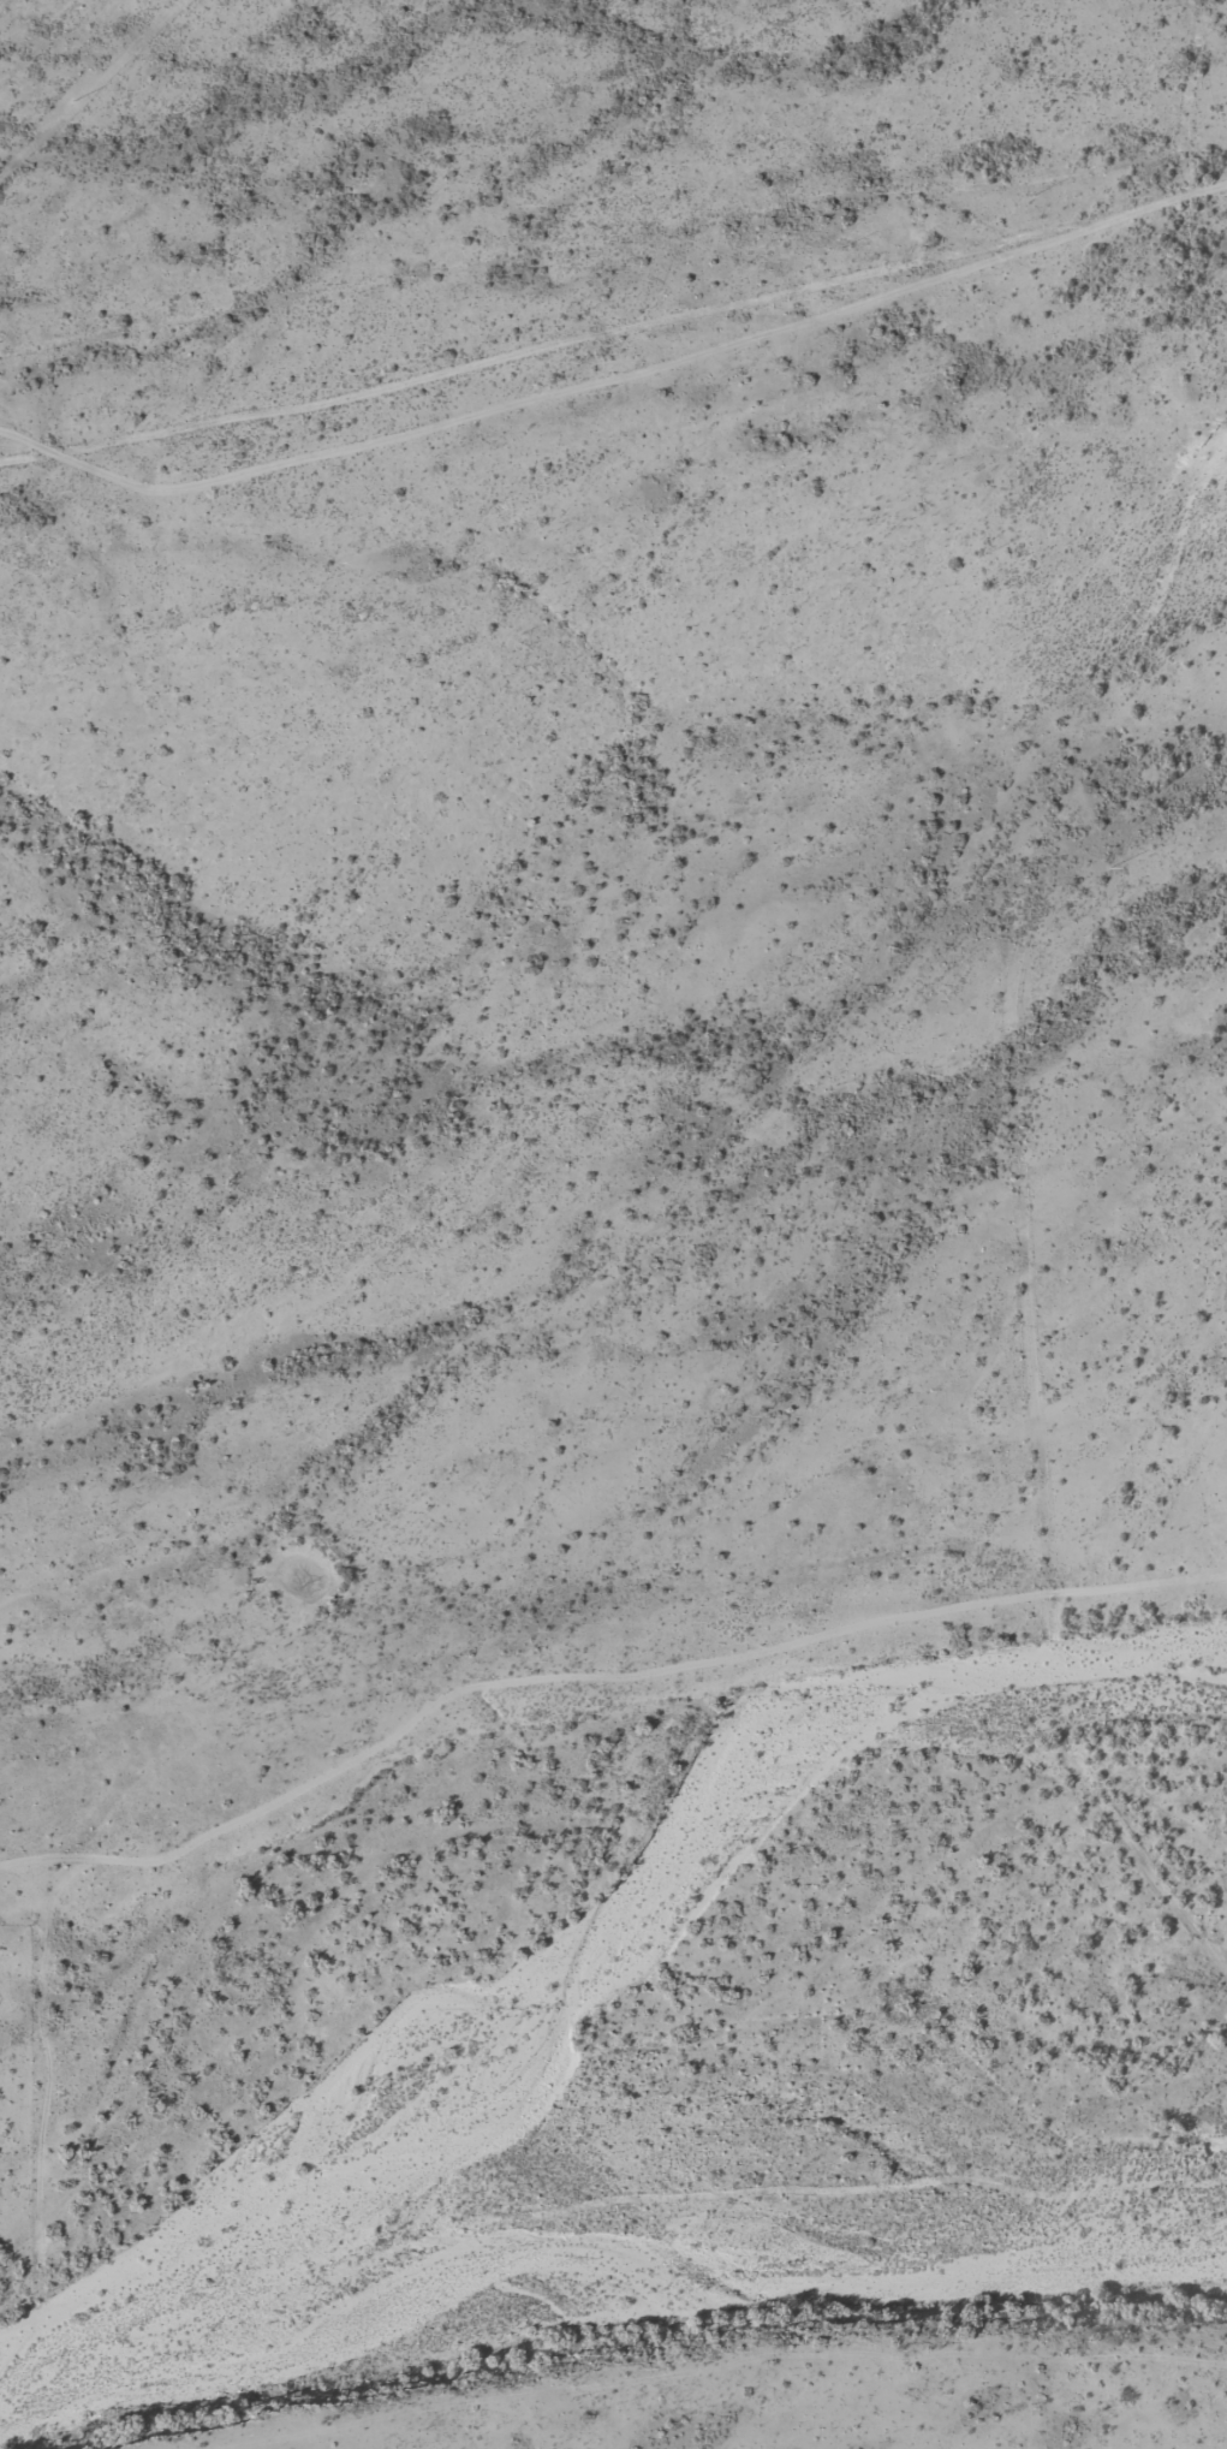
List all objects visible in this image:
road: (610, 221)

